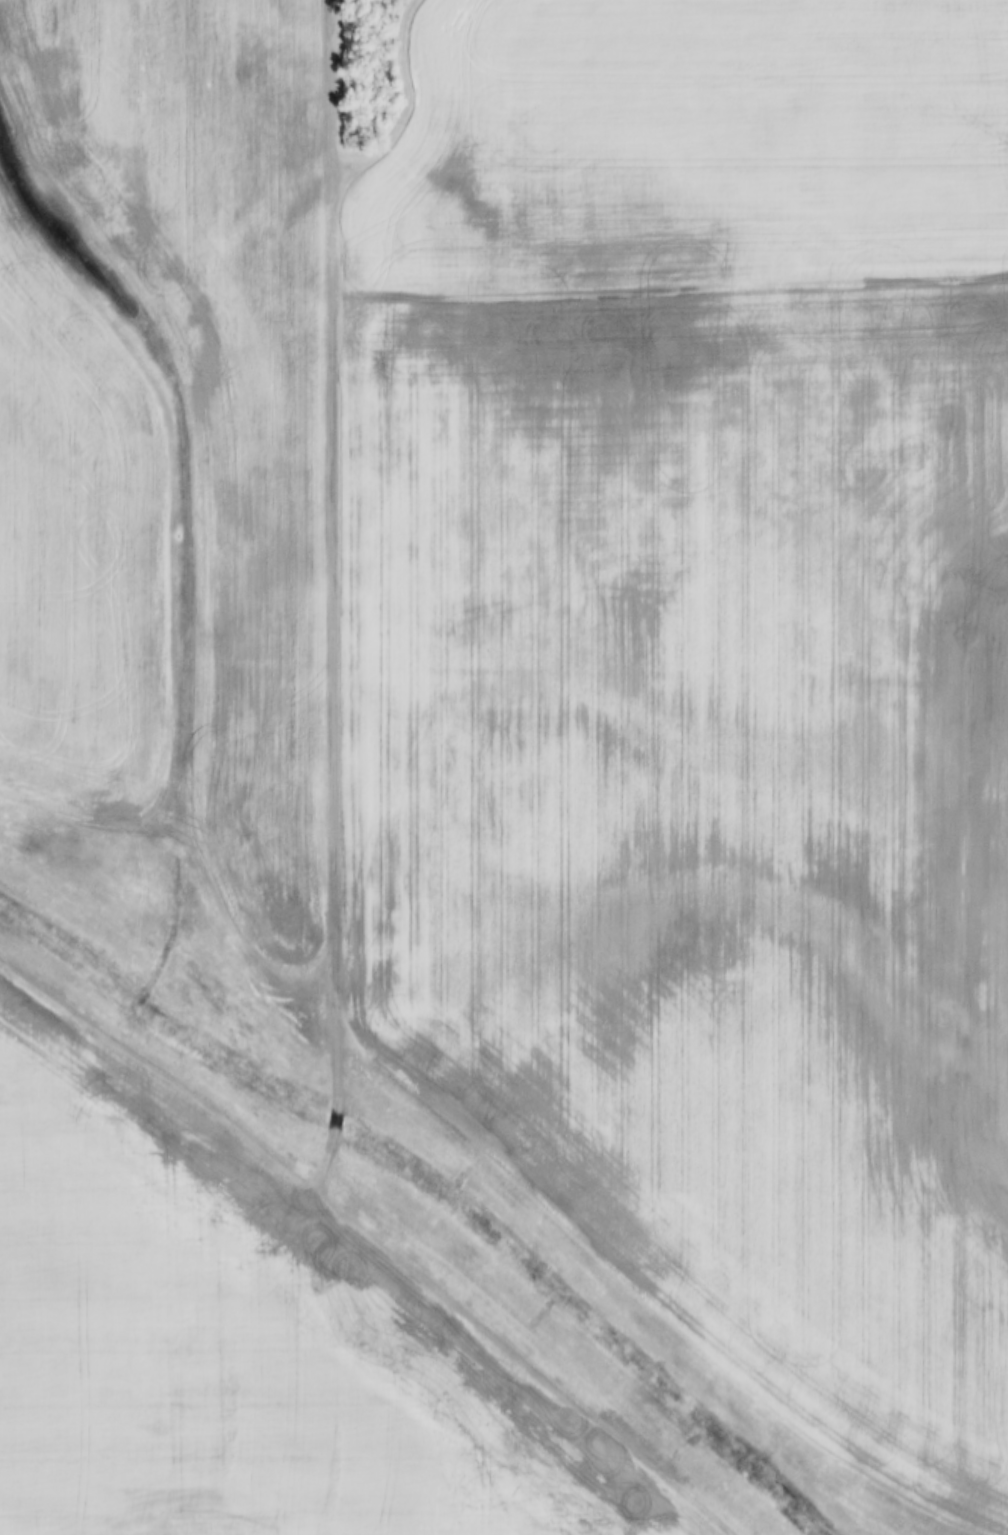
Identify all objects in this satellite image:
road: (333, 564)

